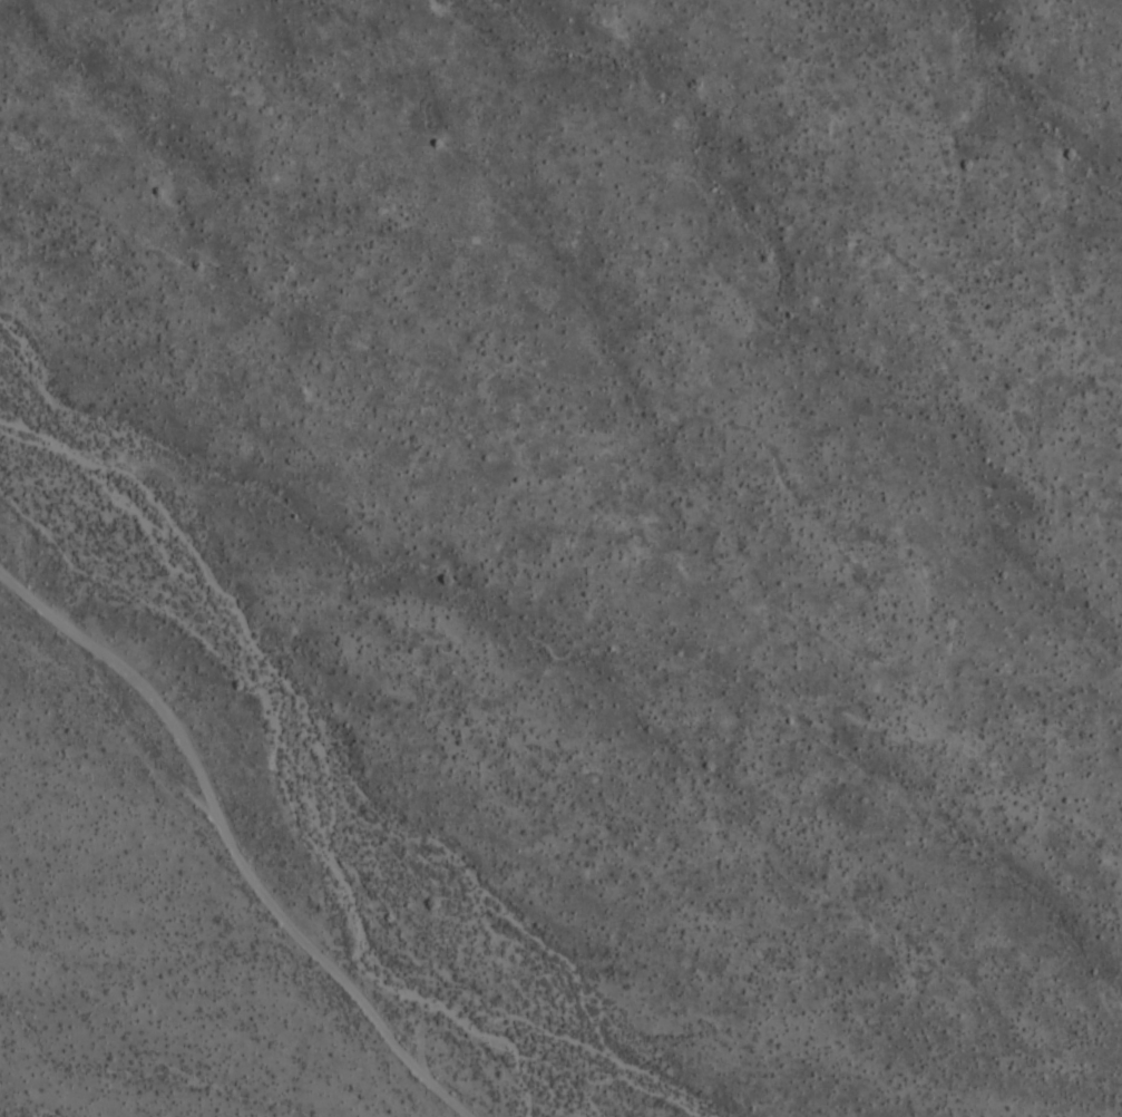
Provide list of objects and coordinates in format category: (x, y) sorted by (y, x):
road: (106, 660)
road: (325, 952)

